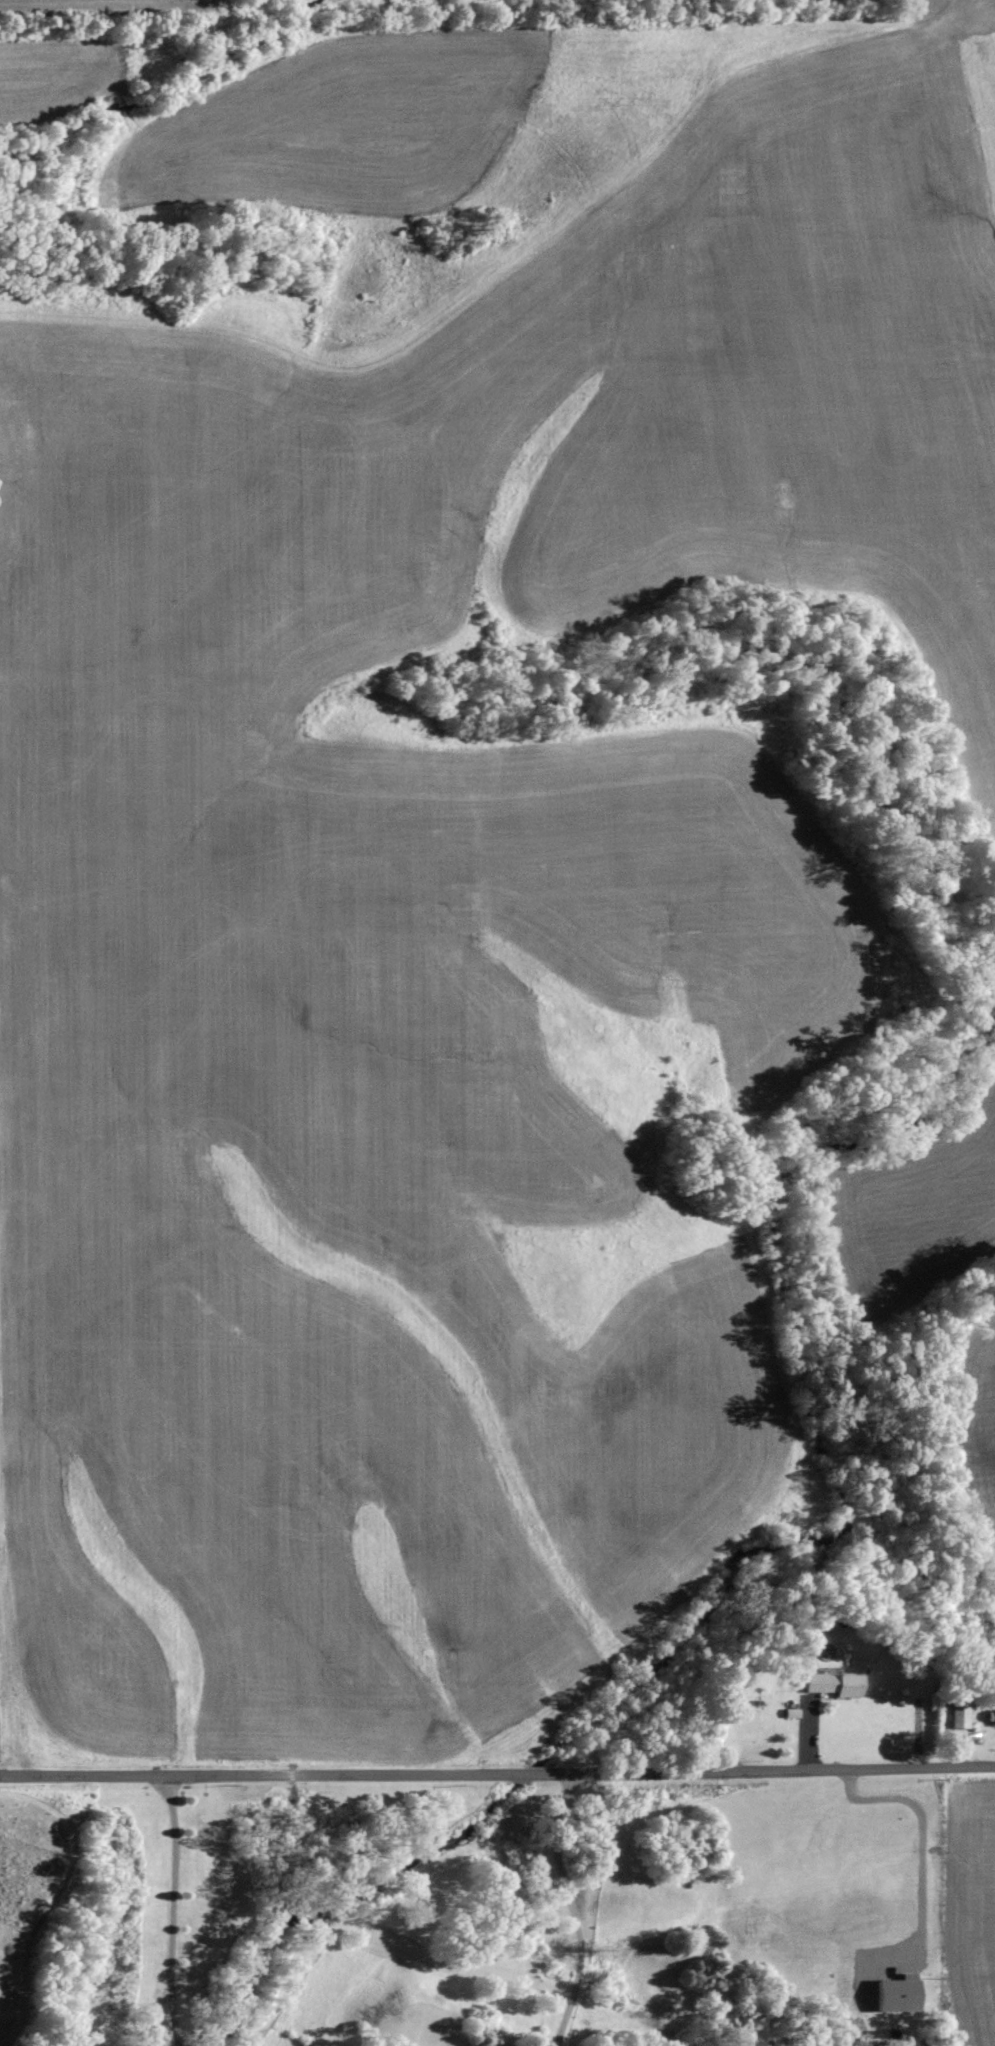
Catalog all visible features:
building: (833, 1685)
building: (959, 1716)
building: (994, 1716)
road: (497, 1771)
road: (172, 1909)
road: (573, 1913)
building: (896, 1994)

